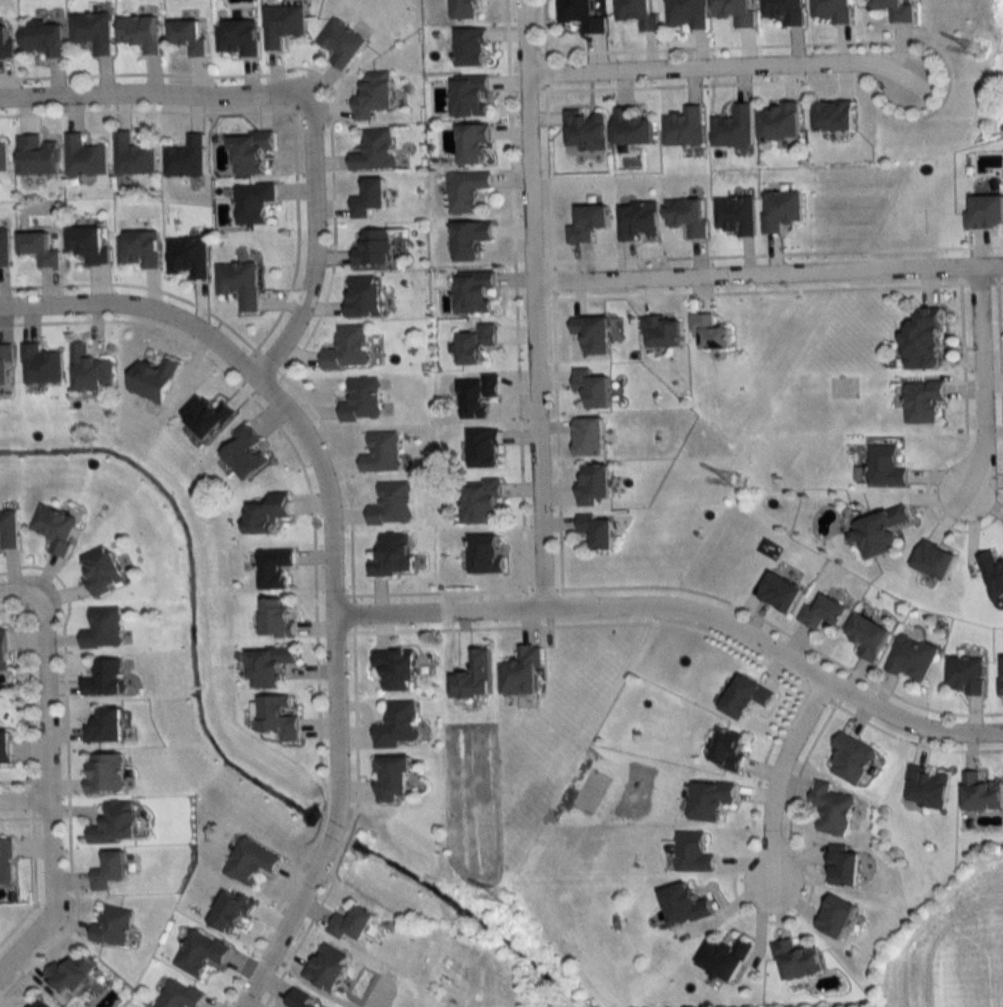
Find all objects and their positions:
building: (466, 9)
building: (832, 10)
building: (895, 10)
building: (736, 11)
building: (785, 11)
building: (638, 13)
building: (686, 14)
building: (581, 15)
building: (281, 25)
building: (91, 31)
building: (139, 32)
building: (187, 36)
building: (236, 38)
building: (41, 39)
building: (340, 43)
building: (5, 44)
building: (470, 46)
power tower: (979, 49)
road: (715, 69)
road: (149, 94)
building: (373, 94)
building: (469, 95)
building: (833, 116)
building: (779, 122)
building: (684, 126)
building: (632, 127)
building: (733, 127)
building: (584, 130)
building: (473, 144)
building: (373, 150)
building: (248, 152)
building: (36, 155)
building: (132, 155)
building: (84, 156)
building: (184, 157)
building: (3, 158)
building: (466, 190)
building: (368, 198)
building: (252, 202)
building: (781, 209)
building: (735, 215)
building: (687, 216)
building: (638, 220)
road: (313, 240)
building: (470, 240)
building: (88, 245)
building: (5, 247)
building: (39, 248)
building: (374, 248)
building: (138, 250)
building: (187, 257)
road: (768, 273)
building: (239, 284)
building: (474, 293)
building: (362, 297)
road: (534, 303)
road: (137, 304)
building: (662, 331)
building: (710, 332)
building: (591, 334)
building: (923, 341)
building: (475, 344)
building: (347, 349)
building: (6, 364)
building: (42, 365)
building: (91, 371)
building: (154, 380)
road: (985, 382)
building: (591, 389)
building: (476, 396)
building: (362, 401)
building: (923, 402)
building: (206, 415)
building: (588, 437)
building: (483, 448)
building: (245, 452)
building: (382, 453)
building: (885, 466)
power tower: (735, 479)
building: (592, 484)
building: (480, 501)
building: (392, 504)
building: (268, 514)
building: (55, 528)
building: (8, 530)
building: (596, 530)
building: (878, 531)
building: (485, 554)
building: (393, 555)
building: (934, 560)
building: (274, 568)
building: (102, 569)
building: (992, 573)
building: (779, 592)
road: (19, 594)
road: (686, 606)
building: (822, 613)
building: (278, 618)
building: (103, 628)
building: (867, 636)
building: (2, 651)
building: (910, 658)
building: (269, 666)
building: (395, 668)
building: (522, 673)
building: (965, 675)
building: (1000, 675)
building: (104, 678)
road: (338, 691)
building: (278, 718)
building: (398, 725)
building: (104, 727)
building: (4, 748)
building: (728, 750)
building: (850, 760)
building: (105, 773)
building: (393, 778)
road: (775, 783)
building: (926, 788)
building: (981, 793)
road: (24, 794)
road: (48, 794)
building: (709, 801)
building: (831, 809)
building: (115, 823)
building: (692, 853)
building: (6, 861)
building: (251, 862)
building: (844, 865)
building: (109, 871)
power tower: (505, 897)
building: (684, 905)
building: (231, 911)
building: (836, 917)
building: (353, 925)
building: (112, 927)
crop: (963, 949)
building: (200, 953)
building: (725, 959)
building: (796, 960)
building: (327, 967)
building: (70, 974)
building: (179, 995)
building: (301, 1001)
building: (38, 1003)

